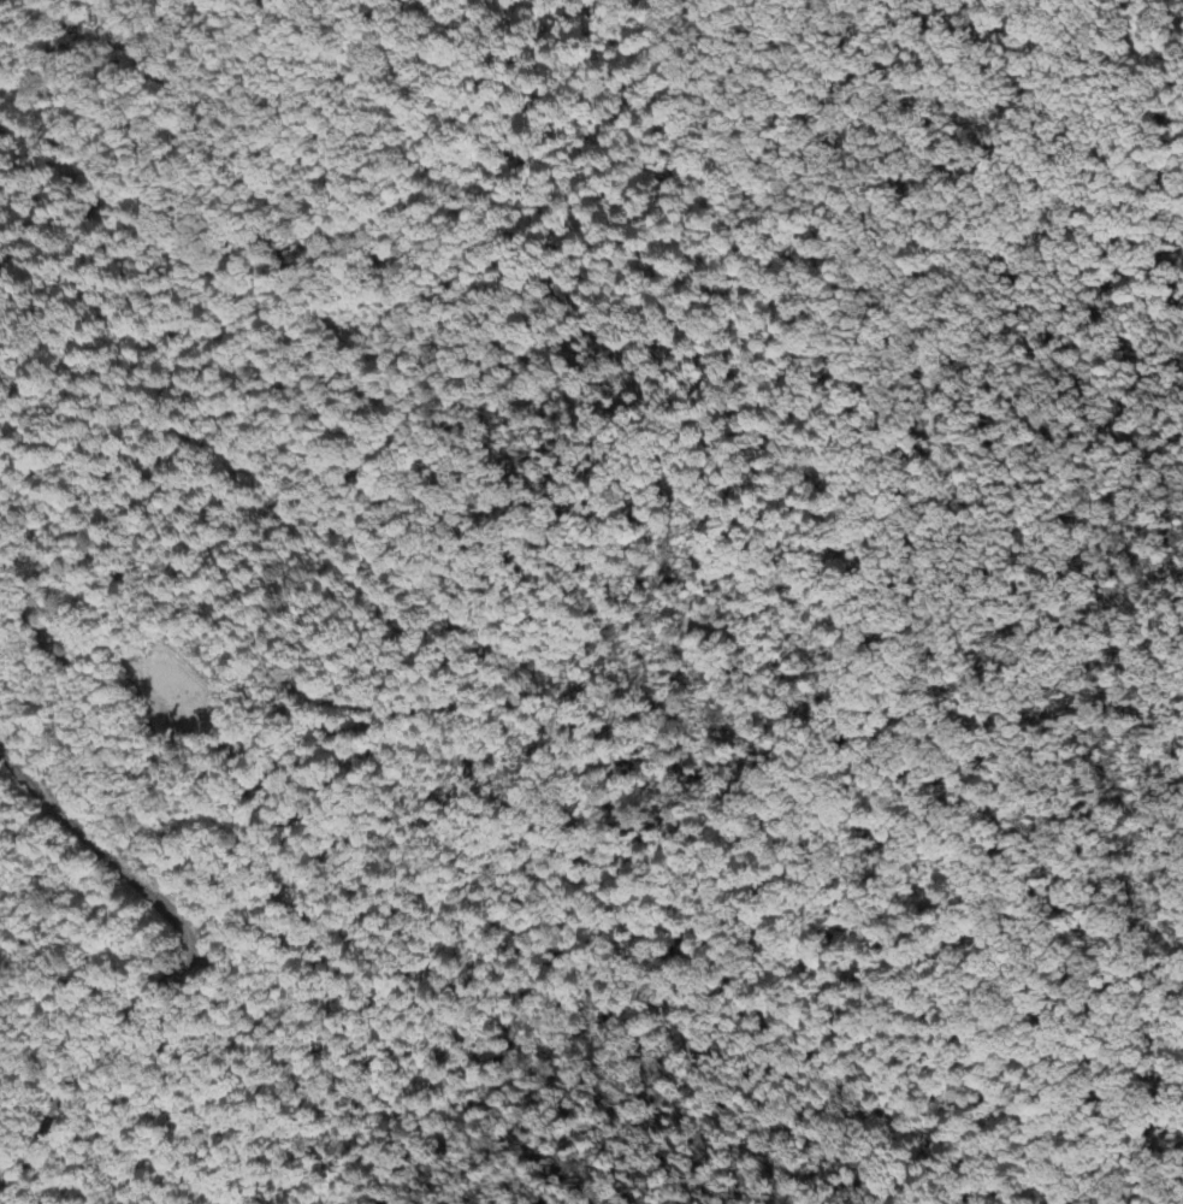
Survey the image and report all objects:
road: (182, 963)

